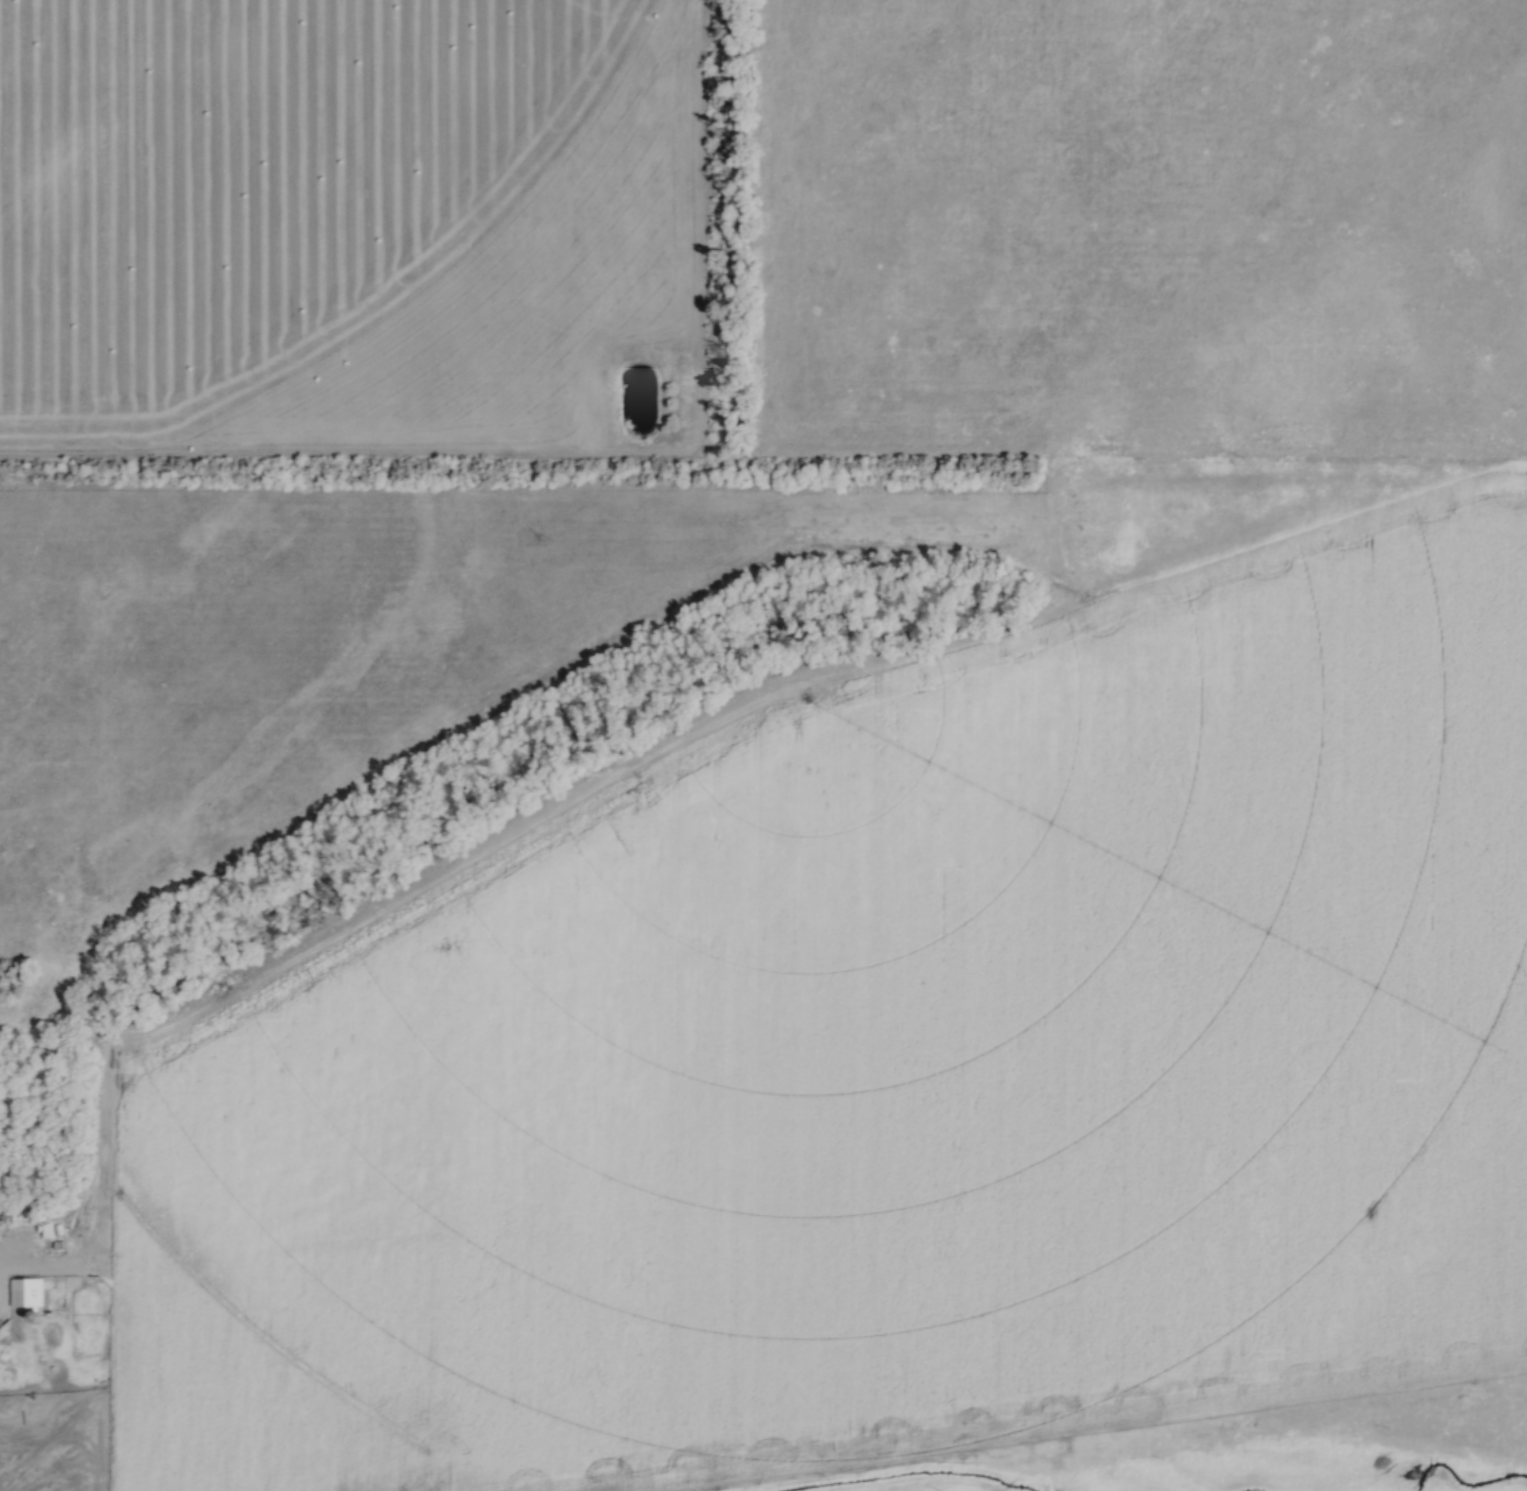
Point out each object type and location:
building: (26, 1294)
river: (902, 1473)
river: (1461, 1483)

